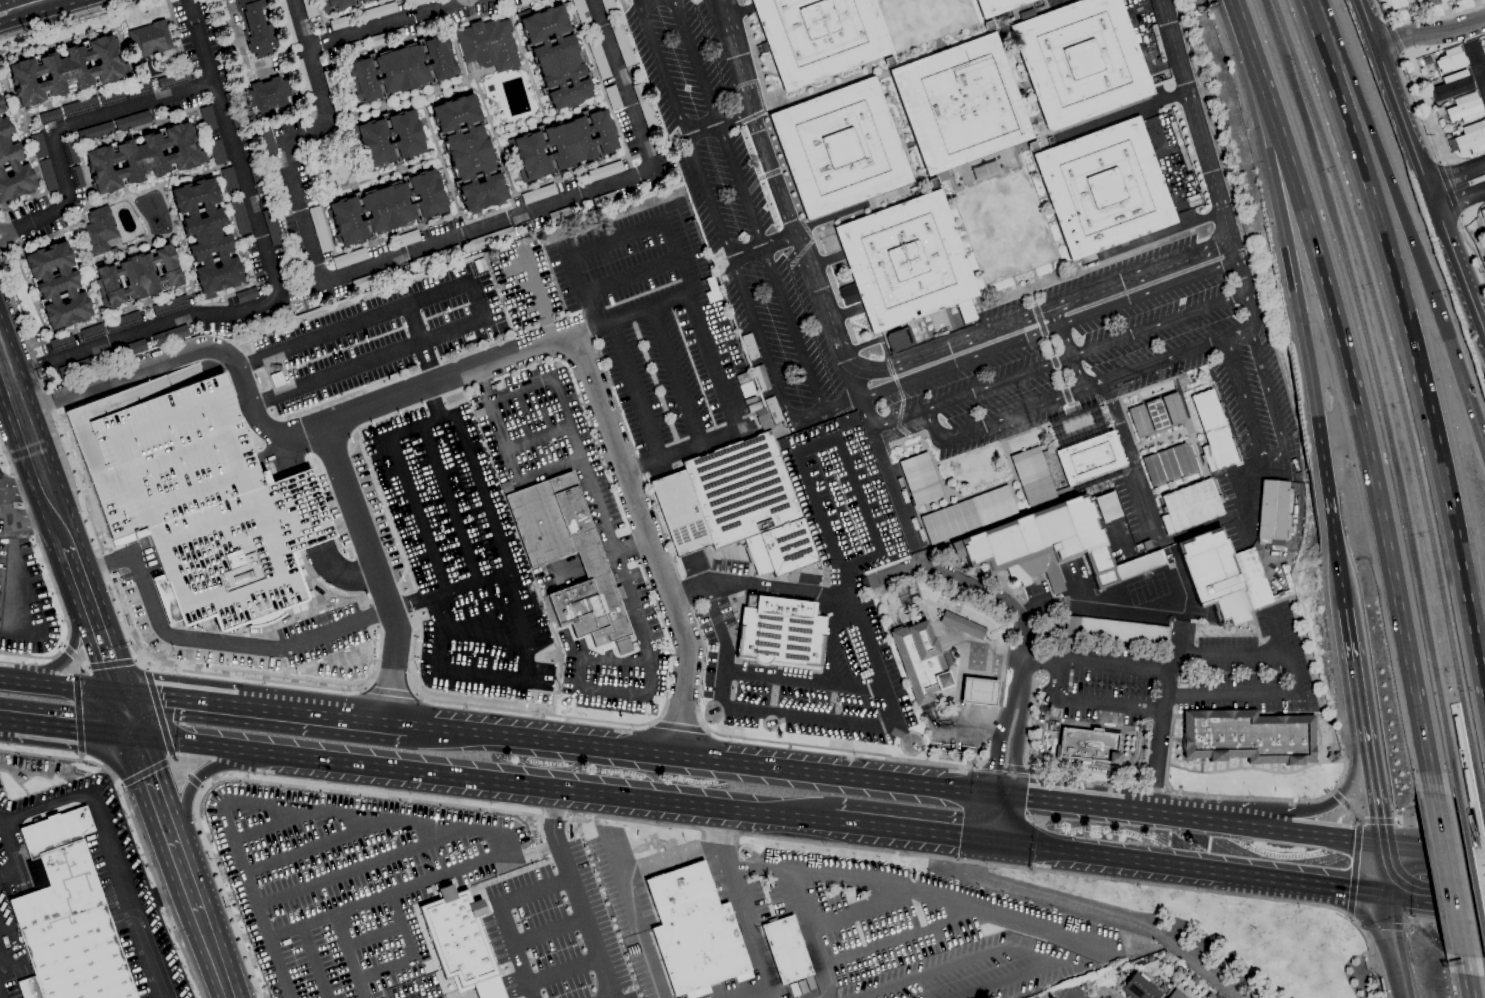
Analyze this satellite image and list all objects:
road: (3, 0)
building: (1451, 0)
road: (1, 1)
building: (367, 1)
road: (1056, 1)
building: (420, 2)
building: (527, 2)
building: (1396, 3)
building: (1427, 3)
building: (338, 4)
road: (447, 4)
road: (1307, 4)
building: (997, 6)
building: (310, 8)
building: (609, 8)
road: (191, 12)
building: (379, 12)
road: (980, 13)
building: (582, 14)
road: (28, 15)
road: (64, 19)
road: (1424, 20)
building: (284, 22)
building: (341, 22)
road: (298, 23)
building: (431, 24)
building: (988, 25)
road: (372, 26)
building: (255, 28)
road: (881, 30)
road: (1431, 32)
building: (818, 37)
building: (387, 38)
building: (150, 39)
road: (1394, 39)
building: (1484, 42)
building: (622, 43)
road: (238, 44)
building: (488, 46)
building: (349, 48)
road: (769, 49)
road: (203, 51)
building: (555, 56)
building: (598, 56)
road: (1250, 56)
road: (900, 57)
building: (1450, 60)
building: (1081, 61)
building: (889, 62)
road: (1476, 64)
building: (66, 70)
building: (401, 70)
building: (300, 77)
building: (174, 80)
road: (1020, 81)
building: (1452, 85)
building: (139, 89)
building: (335, 92)
road: (1394, 92)
building: (269, 94)
building: (112, 97)
building: (613, 97)
building: (961, 104)
building: (1446, 104)
building: (645, 106)
road: (1192, 106)
building: (81, 107)
building: (1465, 108)
building: (235, 109)
road: (1121, 113)
road: (1416, 114)
building: (50, 116)
building: (208, 118)
road: (74, 121)
building: (132, 121)
road: (716, 122)
road: (901, 123)
building: (96, 131)
building: (1455, 133)
road: (1045, 135)
building: (1469, 138)
building: (410, 139)
building: (327, 140)
building: (268, 142)
building: (39, 145)
building: (564, 145)
building: (1179, 145)
building: (1032, 146)
road: (1034, 147)
building: (840, 148)
building: (70, 152)
building: (218, 152)
building: (469, 153)
building: (142, 158)
building: (13, 164)
building: (666, 168)
building: (605, 171)
road: (1386, 174)
building: (48, 175)
building: (258, 175)
road: (1457, 175)
building: (77, 177)
building: (229, 180)
building: (933, 182)
building: (1104, 189)
road: (1448, 190)
road: (896, 192)
building: (538, 194)
road: (1433, 196)
road: (1461, 198)
building: (606, 200)
road: (1052, 203)
road: (747, 204)
building: (387, 207)
building: (1483, 214)
building: (561, 215)
building: (240, 217)
road: (829, 217)
road: (649, 222)
building: (272, 225)
road: (1228, 226)
road: (15, 227)
building: (320, 229)
building: (99, 231)
road: (1162, 233)
building: (1482, 233)
building: (207, 236)
building: (1484, 237)
building: (408, 238)
building: (491, 239)
road: (447, 240)
road: (762, 243)
road: (724, 245)
road: (1153, 245)
road: (1469, 248)
road: (960, 257)
building: (350, 258)
building: (438, 258)
building: (907, 262)
road: (1289, 264)
road: (1461, 270)
road: (1079, 274)
road: (628, 275)
building: (138, 276)
building: (288, 278)
building: (375, 279)
building: (483, 282)
parking lot: (1156, 282)
road: (1243, 284)
building: (58, 285)
road: (1148, 293)
building: (246, 295)
building: (846, 295)
road: (537, 296)
road: (266, 298)
road: (1031, 299)
road: (477, 301)
building: (171, 306)
road: (651, 308)
building: (284, 310)
road: (1054, 316)
road: (1038, 320)
building: (123, 322)
road: (583, 330)
building: (92, 332)
building: (171, 336)
building: (898, 339)
building: (62, 343)
building: (748, 346)
road: (1048, 346)
traffic signals: (1450, 346)
road: (1414, 347)
building: (128, 350)
road: (189, 355)
road: (1068, 356)
road: (958, 361)
road: (1058, 361)
road: (1053, 362)
road: (428, 363)
building: (77, 367)
road: (26, 369)
road: (857, 370)
road: (675, 377)
building: (760, 377)
road: (1059, 378)
road: (482, 385)
building: (744, 385)
road: (1078, 389)
railway: (1380, 393)
railway: (1399, 393)
road: (1066, 394)
road: (1246, 400)
road: (1467, 400)
road: (1271, 403)
road: (432, 404)
road: (1071, 408)
building: (1172, 408)
building: (772, 409)
building: (1156, 415)
road: (604, 416)
building: (411, 418)
building: (1139, 421)
road: (535, 432)
building: (1213, 432)
road: (1365, 448)
road: (32, 450)
building: (1086, 450)
road: (280, 453)
road: (880, 454)
road: (1130, 458)
building: (1166, 464)
road: (643, 466)
road: (512, 474)
building: (1031, 476)
building: (918, 478)
road: (23, 489)
road: (1245, 496)
building: (200, 497)
road: (860, 497)
road: (596, 501)
road: (448, 503)
road: (1330, 503)
building: (736, 504)
building: (1106, 506)
building: (1190, 506)
road: (302, 509)
building: (1274, 512)
building: (966, 514)
road: (486, 518)
road: (32, 520)
road: (1200, 527)
road: (631, 542)
building: (427, 546)
building: (1050, 547)
building: (540, 559)
road: (18, 563)
road: (75, 566)
road: (375, 571)
road: (339, 573)
road: (47, 574)
building: (1224, 576)
building: (1286, 577)
road: (110, 584)
road: (776, 588)
road: (446, 590)
road: (985, 591)
road: (690, 594)
building: (908, 594)
building: (480, 595)
road: (878, 596)
road: (945, 598)
road: (476, 618)
road: (715, 620)
building: (962, 625)
road: (18, 630)
building: (1117, 630)
building: (781, 633)
road: (831, 638)
road: (101, 642)
road: (212, 642)
road: (67, 650)
road: (980, 653)
flagpole: (171, 654)
road: (137, 657)
road: (1230, 657)
road: (1094, 661)
building: (922, 663)
road: (105, 665)
road: (150, 666)
road: (913, 670)
road: (578, 673)
flagpole: (420, 680)
road: (804, 682)
road: (59, 687)
road: (389, 688)
flagpole: (558, 689)
building: (979, 692)
gas station: (979, 692)
road: (979, 692)
traffic signals: (120, 693)
road: (1276, 695)
road: (77, 697)
road: (1087, 702)
flagpole: (702, 706)
road: (263, 709)
road: (1348, 710)
road: (532, 713)
road: (127, 715)
road: (159, 715)
road: (1040, 718)
road: (1361, 718)
road: (1161, 720)
road: (7, 722)
road: (1090, 724)
road: (876, 725)
road: (935, 725)
road: (678, 727)
road: (75, 730)
road: (1140, 730)
road: (975, 731)
building: (1457, 733)
railway: (1453, 736)
building: (1248, 737)
traffic signals: (135, 738)
road: (998, 742)
building: (1087, 745)
road: (797, 746)
road: (1017, 746)
flagpole: (1063, 753)
flagpole: (1094, 756)
road: (79, 757)
flagpole: (1107, 758)
road: (1146, 758)
road: (699, 759)
road: (1084, 764)
road: (1005, 767)
road: (146, 772)
road: (184, 773)
flagpole: (73, 775)
road: (483, 780)
road: (194, 782)
road: (121, 785)
road: (201, 786)
building: (1467, 786)
road: (153, 788)
road: (1169, 792)
traffic signals: (992, 795)
road: (1003, 796)
traffic signals: (1015, 797)
road: (1068, 803)
road: (43, 805)
road: (1346, 805)
road: (1438, 808)
railway: (1482, 814)
road: (1253, 816)
road: (993, 818)
road: (1004, 819)
road: (1379, 821)
road: (424, 824)
road: (265, 827)
road: (1252, 827)
road: (1441, 827)
road: (690, 828)
road: (913, 830)
road: (137, 831)
traffic signals: (994, 841)
flagpole: (683, 843)
traffic signals: (1382, 846)
road: (304, 847)
road: (1433, 851)
road: (12, 857)
road: (1109, 857)
road: (673, 861)
road: (1355, 867)
road: (1383, 868)
road: (349, 870)
railway: (1471, 872)
building: (36, 873)
road: (8, 874)
road: (1446, 874)
road: (186, 879)
road: (1304, 883)
road: (924, 890)
traffic signals: (1384, 891)
road: (128, 892)
road: (576, 894)
road: (1434, 896)
road: (741, 903)
road: (1085, 908)
road: (865, 910)
road: (637, 915)
road: (501, 916)
building: (67, 918)
road: (1442, 921)
road: (1383, 927)
road: (548, 929)
building: (694, 931)
road: (67, 932)
road: (809, 933)
road: (371, 935)
road: (903, 940)
road: (78, 942)
road: (1393, 944)
building: (458, 945)
road: (44, 946)
road: (1446, 946)
building: (787, 949)
road: (407, 952)
road: (0, 954)
road: (347, 954)
road: (1026, 954)
road: (215, 959)
road: (312, 959)
road: (18, 962)
road: (99, 962)
road: (1359, 963)
road: (275, 966)
road: (563, 969)
road: (927, 972)
building: (1171, 976)
road: (1464, 977)
road: (997, 980)
building: (1166, 987)
road: (29, 988)
building: (1139, 988)
road: (1092, 989)
road: (753, 993)
road: (1069, 995)
building: (1175, 995)
road: (610, 996)
building: (1162, 996)

